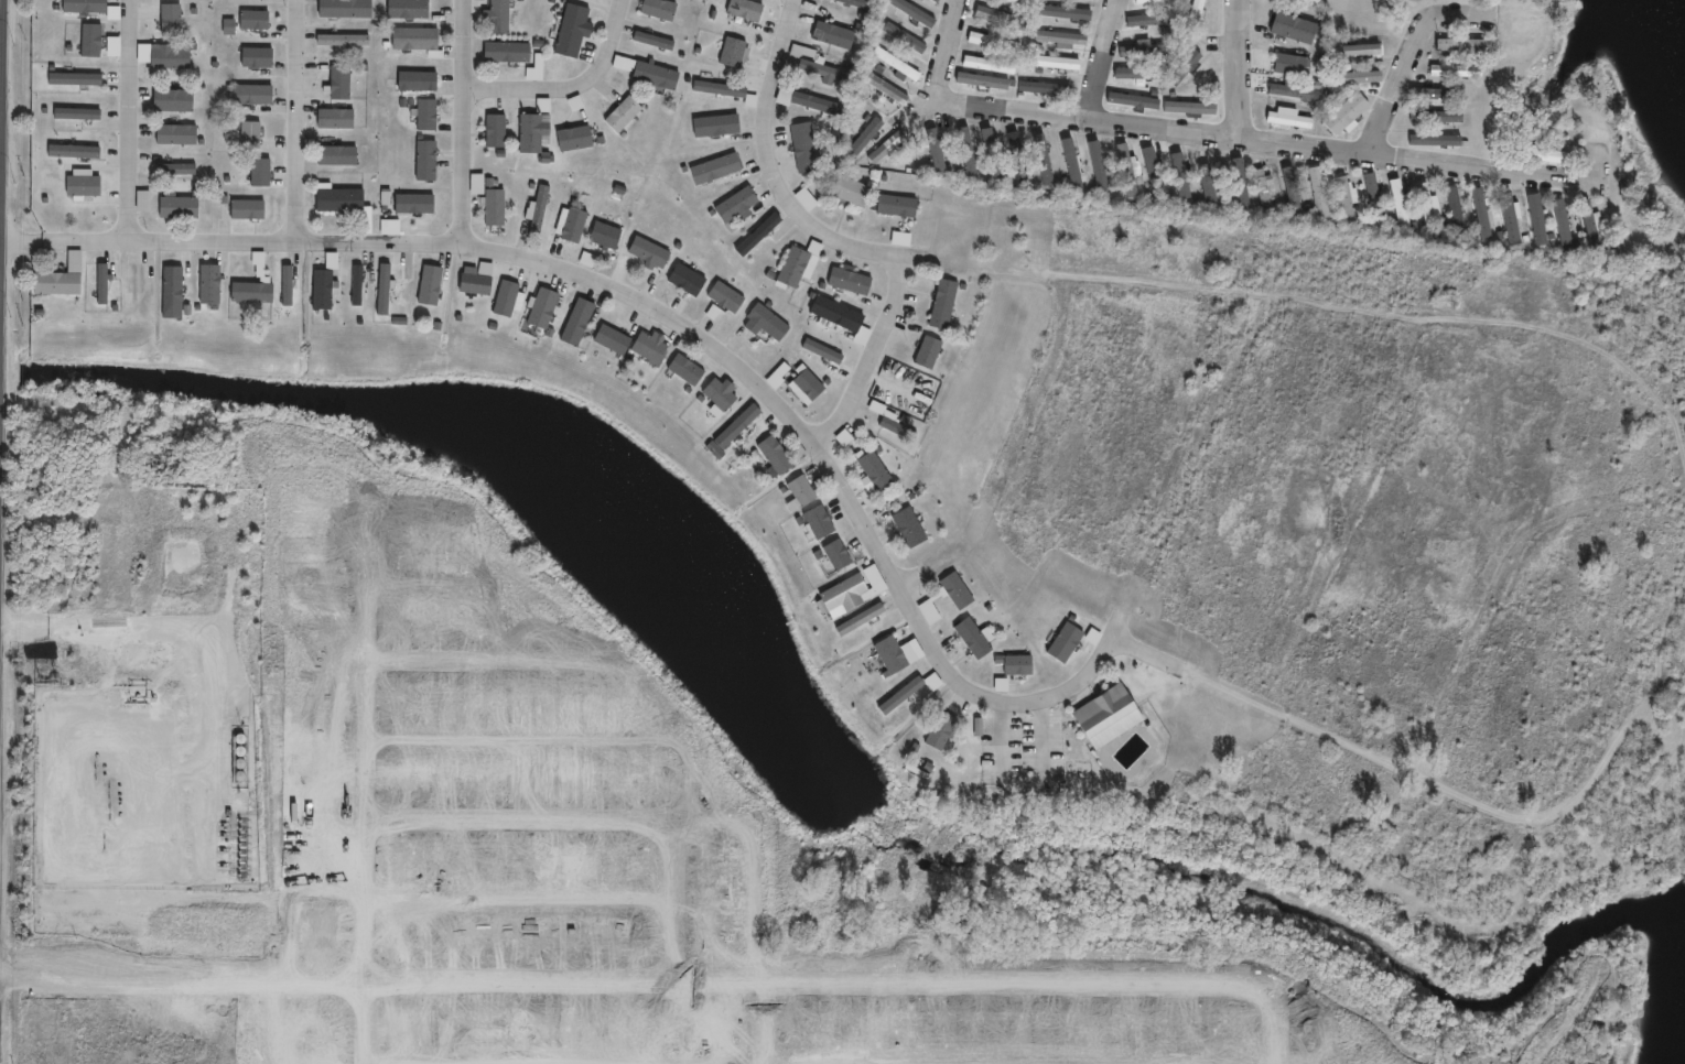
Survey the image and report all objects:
building: (936, 0)
building: (940, 1)
building: (1162, 1)
building: (854, 2)
building: (1027, 2)
building: (348, 9)
building: (410, 9)
building: (663, 10)
building: (918, 12)
building: (1071, 13)
building: (500, 17)
building: (255, 19)
building: (1007, 19)
building: (1149, 20)
building: (1199, 21)
building: (1293, 29)
building: (576, 32)
building: (419, 39)
building: (909, 39)
building: (1066, 39)
building: (91, 40)
building: (345, 41)
building: (656, 41)
building: (998, 43)
road: (1418, 46)
building: (1460, 46)
road: (952, 47)
building: (1146, 51)
building: (512, 52)
building: (1358, 52)
building: (736, 53)
building: (246, 55)
building: (170, 58)
road: (1098, 58)
building: (1058, 63)
building: (993, 65)
building: (822, 66)
building: (903, 66)
building: (1290, 66)
road: (1241, 67)
building: (539, 69)
building: (1457, 72)
building: (1137, 74)
building: (659, 76)
building: (76, 78)
building: (1350, 79)
building: (420, 82)
building: (342, 83)
building: (990, 88)
road: (576, 89)
building: (722, 89)
building: (1049, 89)
building: (892, 90)
building: (253, 93)
building: (1437, 93)
building: (1292, 94)
building: (179, 97)
building: (1180, 97)
building: (822, 105)
building: (76, 112)
building: (1343, 115)
building: (627, 116)
building: (431, 117)
building: (1435, 118)
road: (303, 120)
road: (136, 121)
building: (1287, 121)
road: (467, 123)
building: (717, 128)
building: (175, 132)
building: (499, 132)
building: (534, 134)
road: (1272, 139)
building: (579, 140)
building: (1440, 141)
building: (810, 146)
building: (890, 148)
building: (939, 149)
building: (74, 150)
building: (968, 152)
building: (996, 154)
building: (1541, 155)
building: (1023, 159)
building: (429, 162)
building: (1050, 163)
road: (768, 165)
building: (1078, 166)
building: (1103, 166)
building: (719, 169)
building: (260, 170)
building: (1126, 170)
building: (1152, 173)
building: (1207, 178)
building: (1178, 180)
building: (480, 183)
building: (1241, 183)
building: (84, 184)
building: (852, 188)
building: (1263, 191)
building: (1287, 194)
building: (1317, 194)
building: (806, 198)
building: (1344, 198)
building: (348, 203)
building: (179, 204)
building: (417, 204)
building: (739, 204)
building: (901, 205)
building: (1375, 206)
building: (247, 207)
building: (498, 207)
building: (539, 208)
building: (1400, 208)
building: (1428, 208)
building: (1456, 213)
building: (1481, 216)
building: (1509, 218)
building: (1536, 219)
building: (577, 224)
building: (1590, 224)
building: (1564, 225)
building: (608, 237)
road: (21, 243)
road: (1, 248)
building: (1146, 251)
building: (651, 252)
building: (797, 268)
building: (689, 280)
building: (855, 281)
building: (60, 282)
building: (479, 282)
building: (104, 284)
building: (396, 284)
building: (213, 285)
building: (289, 285)
building: (359, 285)
building: (431, 285)
building: (322, 289)
building: (172, 291)
building: (255, 291)
building: (726, 296)
building: (948, 304)
building: (547, 305)
building: (840, 313)
building: (770, 321)
building: (577, 322)
road: (680, 323)
building: (613, 340)
building: (654, 347)
building: (932, 352)
road: (873, 358)
building: (689, 370)
building: (779, 374)
building: (812, 384)
building: (723, 398)
building: (903, 428)
building: (734, 430)
building: (843, 437)
building: (779, 455)
building: (878, 471)
building: (806, 491)
building: (824, 524)
building: (914, 528)
building: (841, 555)
building: (961, 591)
building: (854, 593)
road: (153, 610)
building: (868, 617)
building: (980, 638)
building: (1070, 641)
road: (1154, 654)
building: (896, 655)
building: (1020, 664)
building: (905, 696)
building: (1112, 716)
building: (944, 730)
road: (1017, 783)

